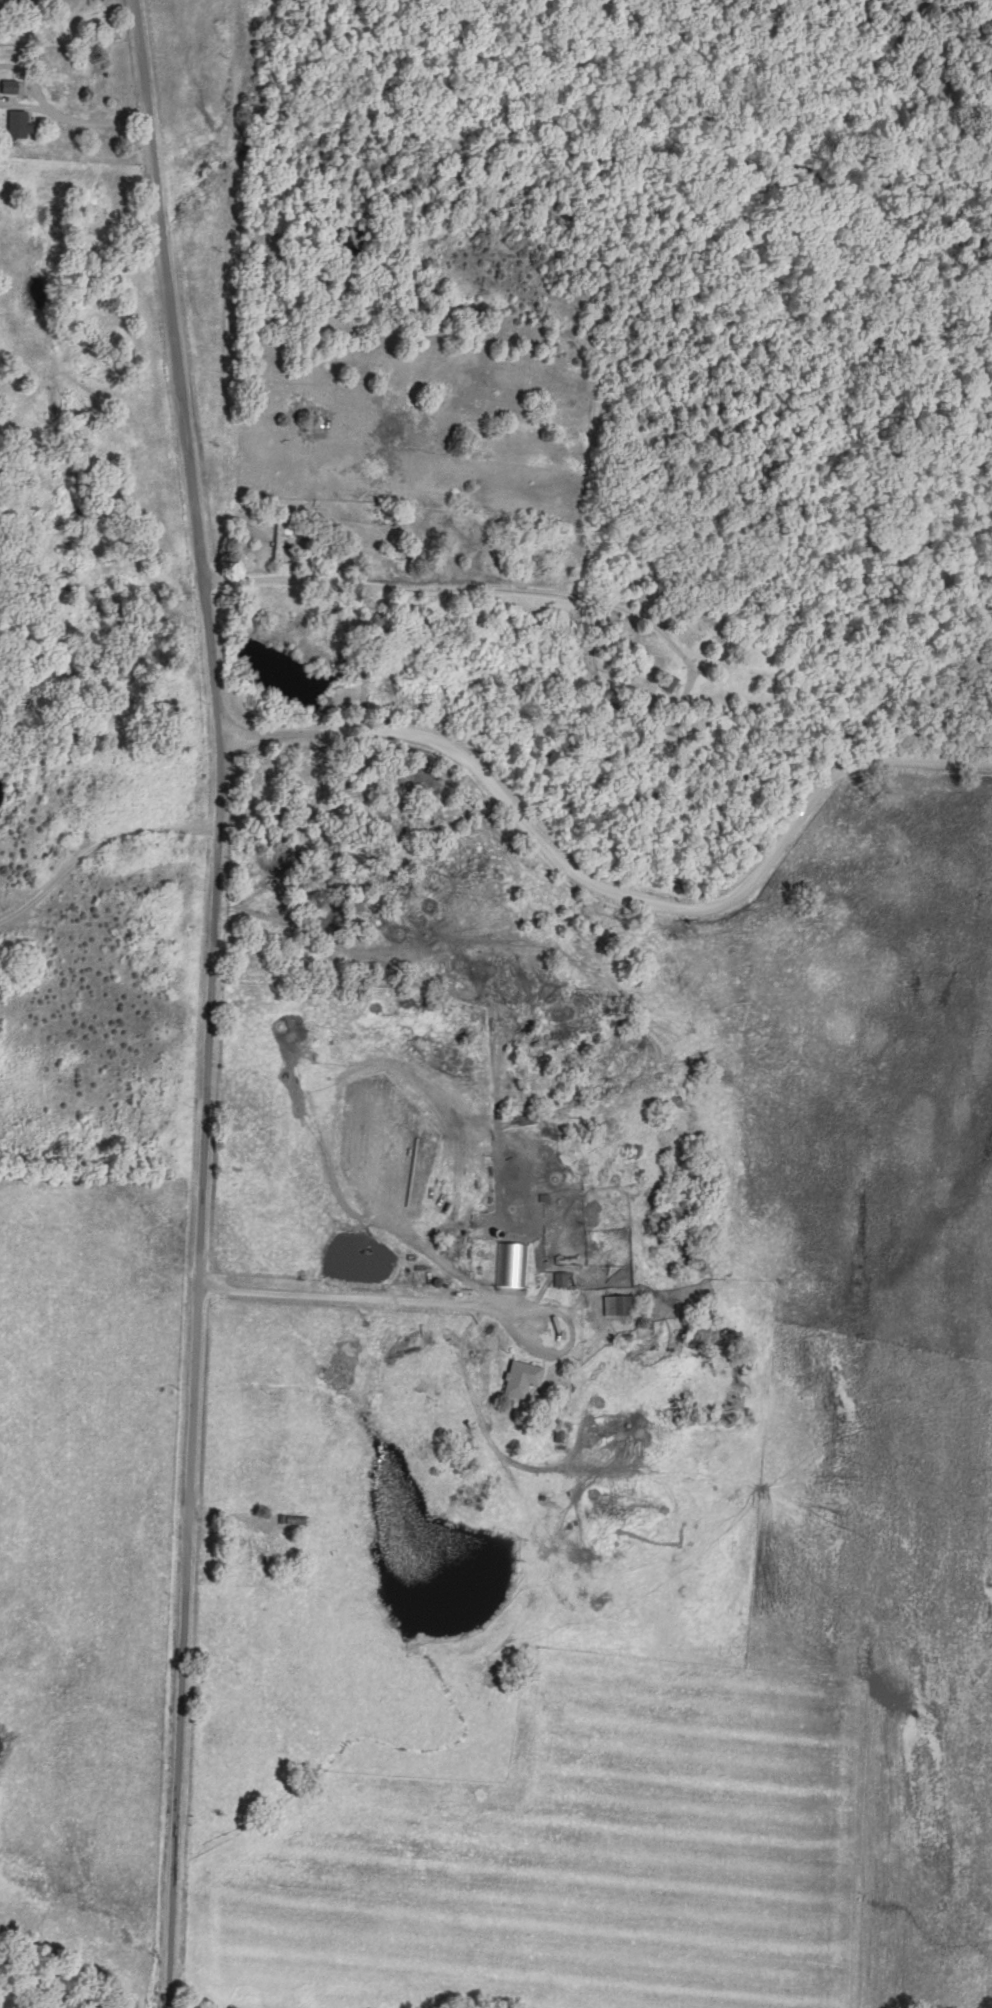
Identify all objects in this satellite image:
building: (10, 84)
building: (20, 121)
road: (75, 122)
road: (470, 586)
building: (669, 679)
road: (97, 846)
road: (609, 892)
road: (213, 1001)
building: (512, 1262)
building: (562, 1276)
road: (343, 1299)
building: (620, 1302)
road: (568, 1316)
building: (523, 1375)

